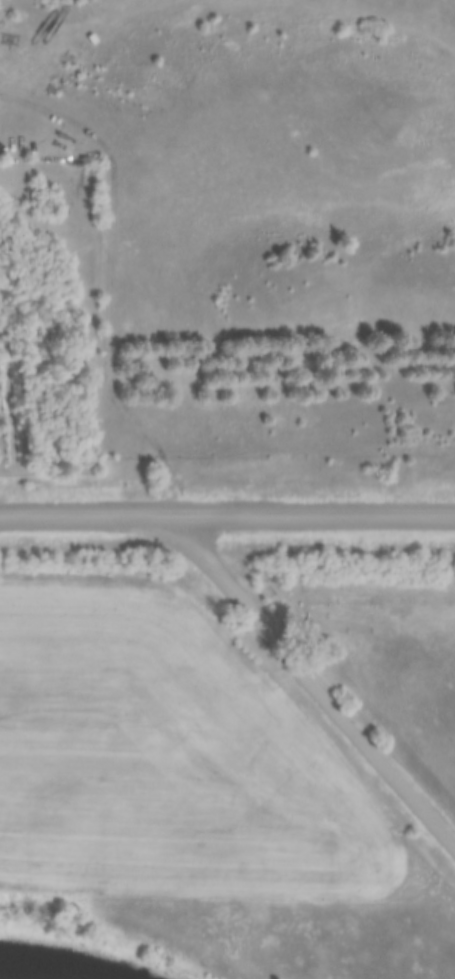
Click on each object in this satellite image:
road: (112, 279)
road: (227, 512)
road: (310, 682)
river: (44, 972)

